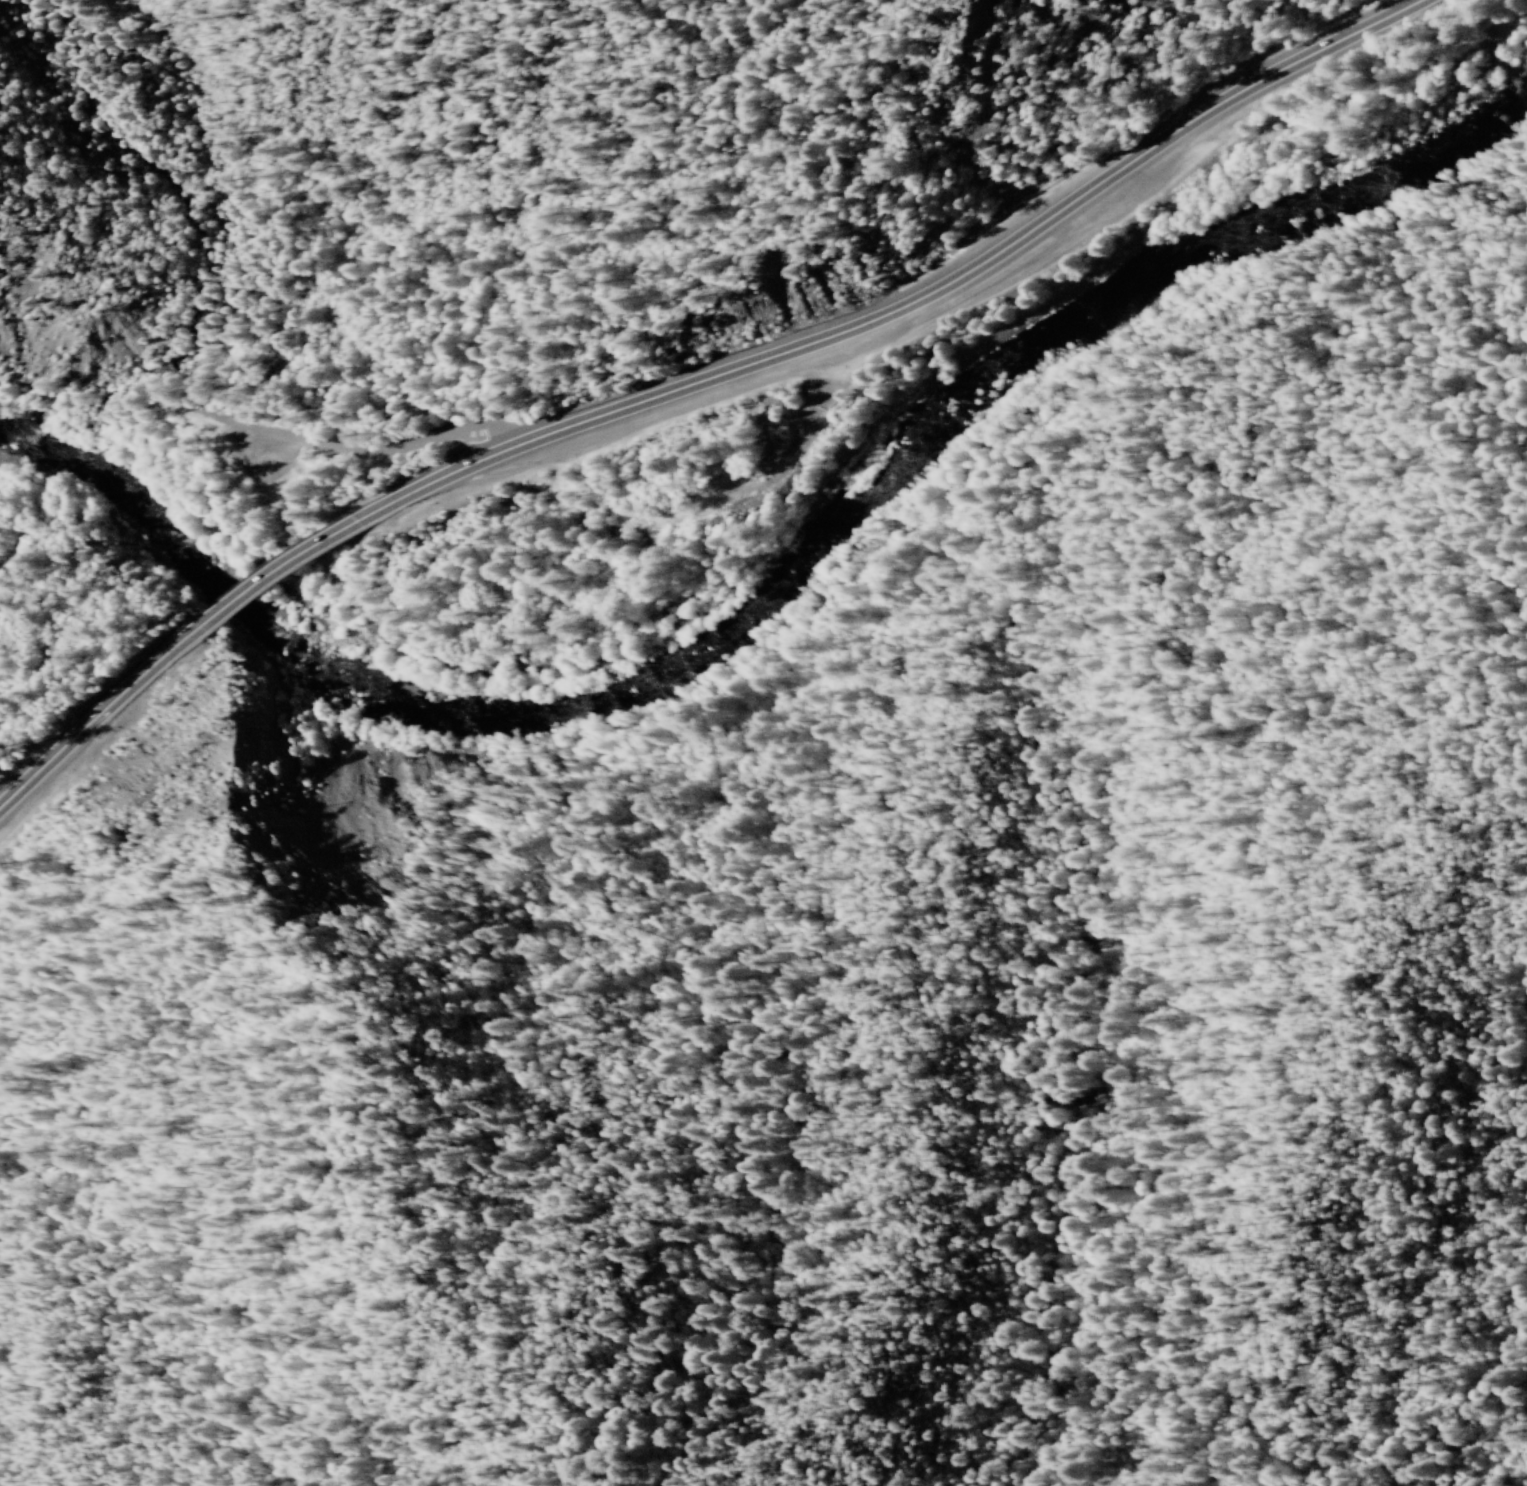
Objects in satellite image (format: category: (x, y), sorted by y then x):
river: (1213, 223)
road: (911, 298)
road: (307, 443)
river: (110, 502)
road: (272, 569)
river: (582, 666)
road: (92, 720)

